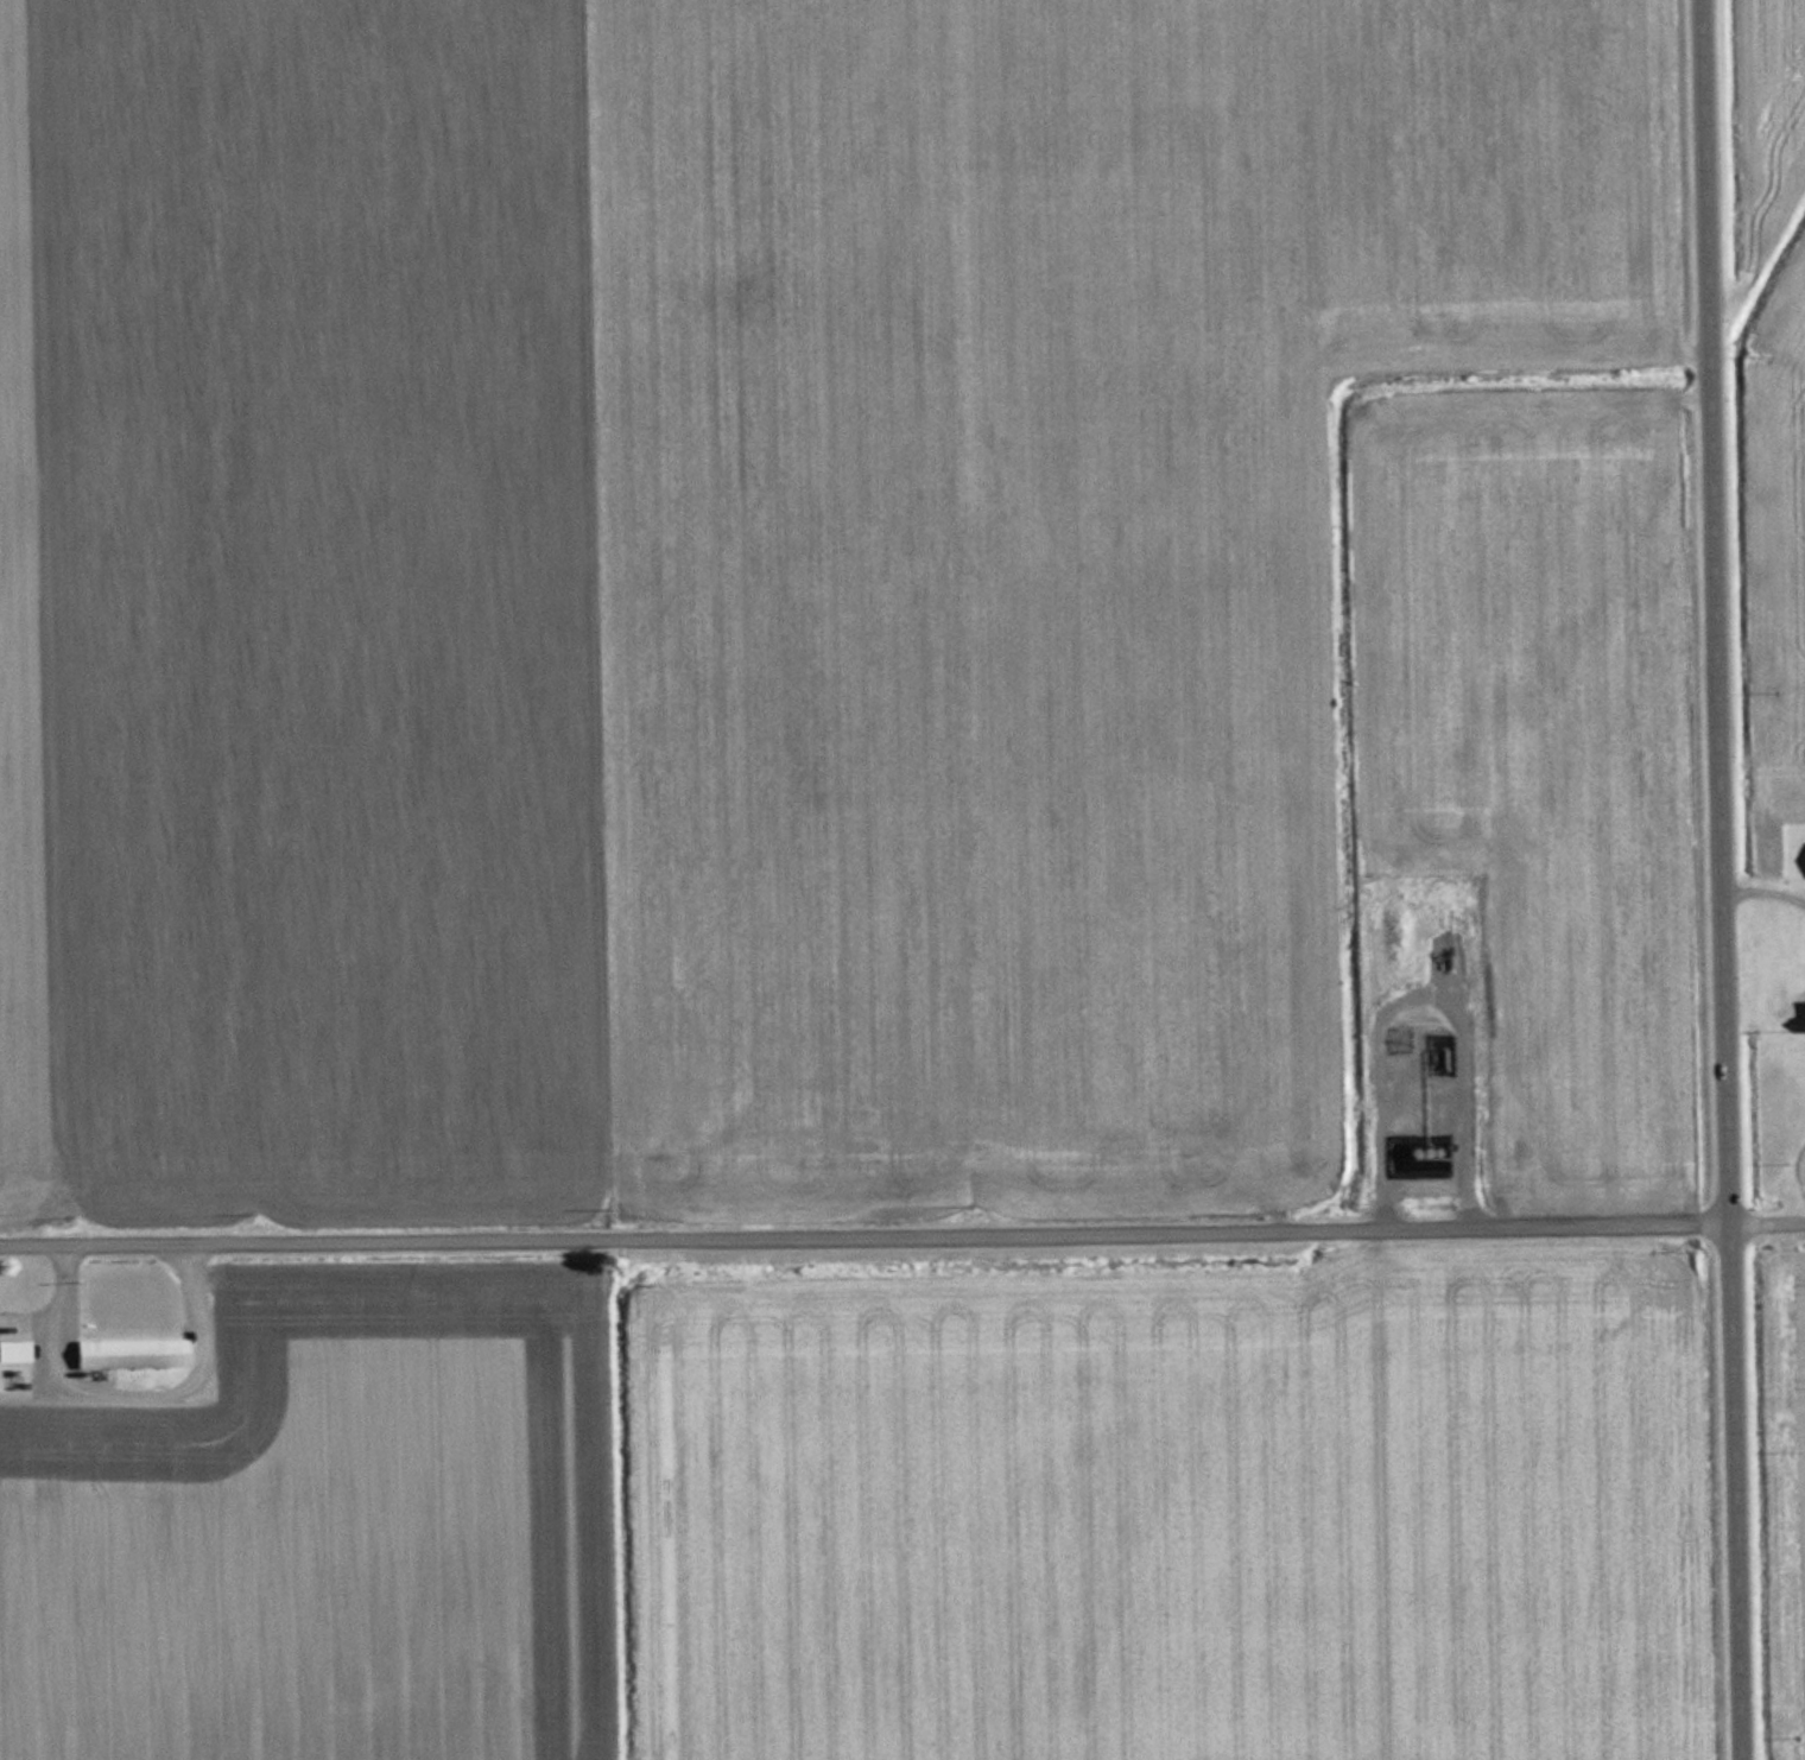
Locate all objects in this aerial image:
road: (1717, 879)
building: (1414, 1156)
road: (902, 1228)
building: (13, 1349)
building: (128, 1353)

